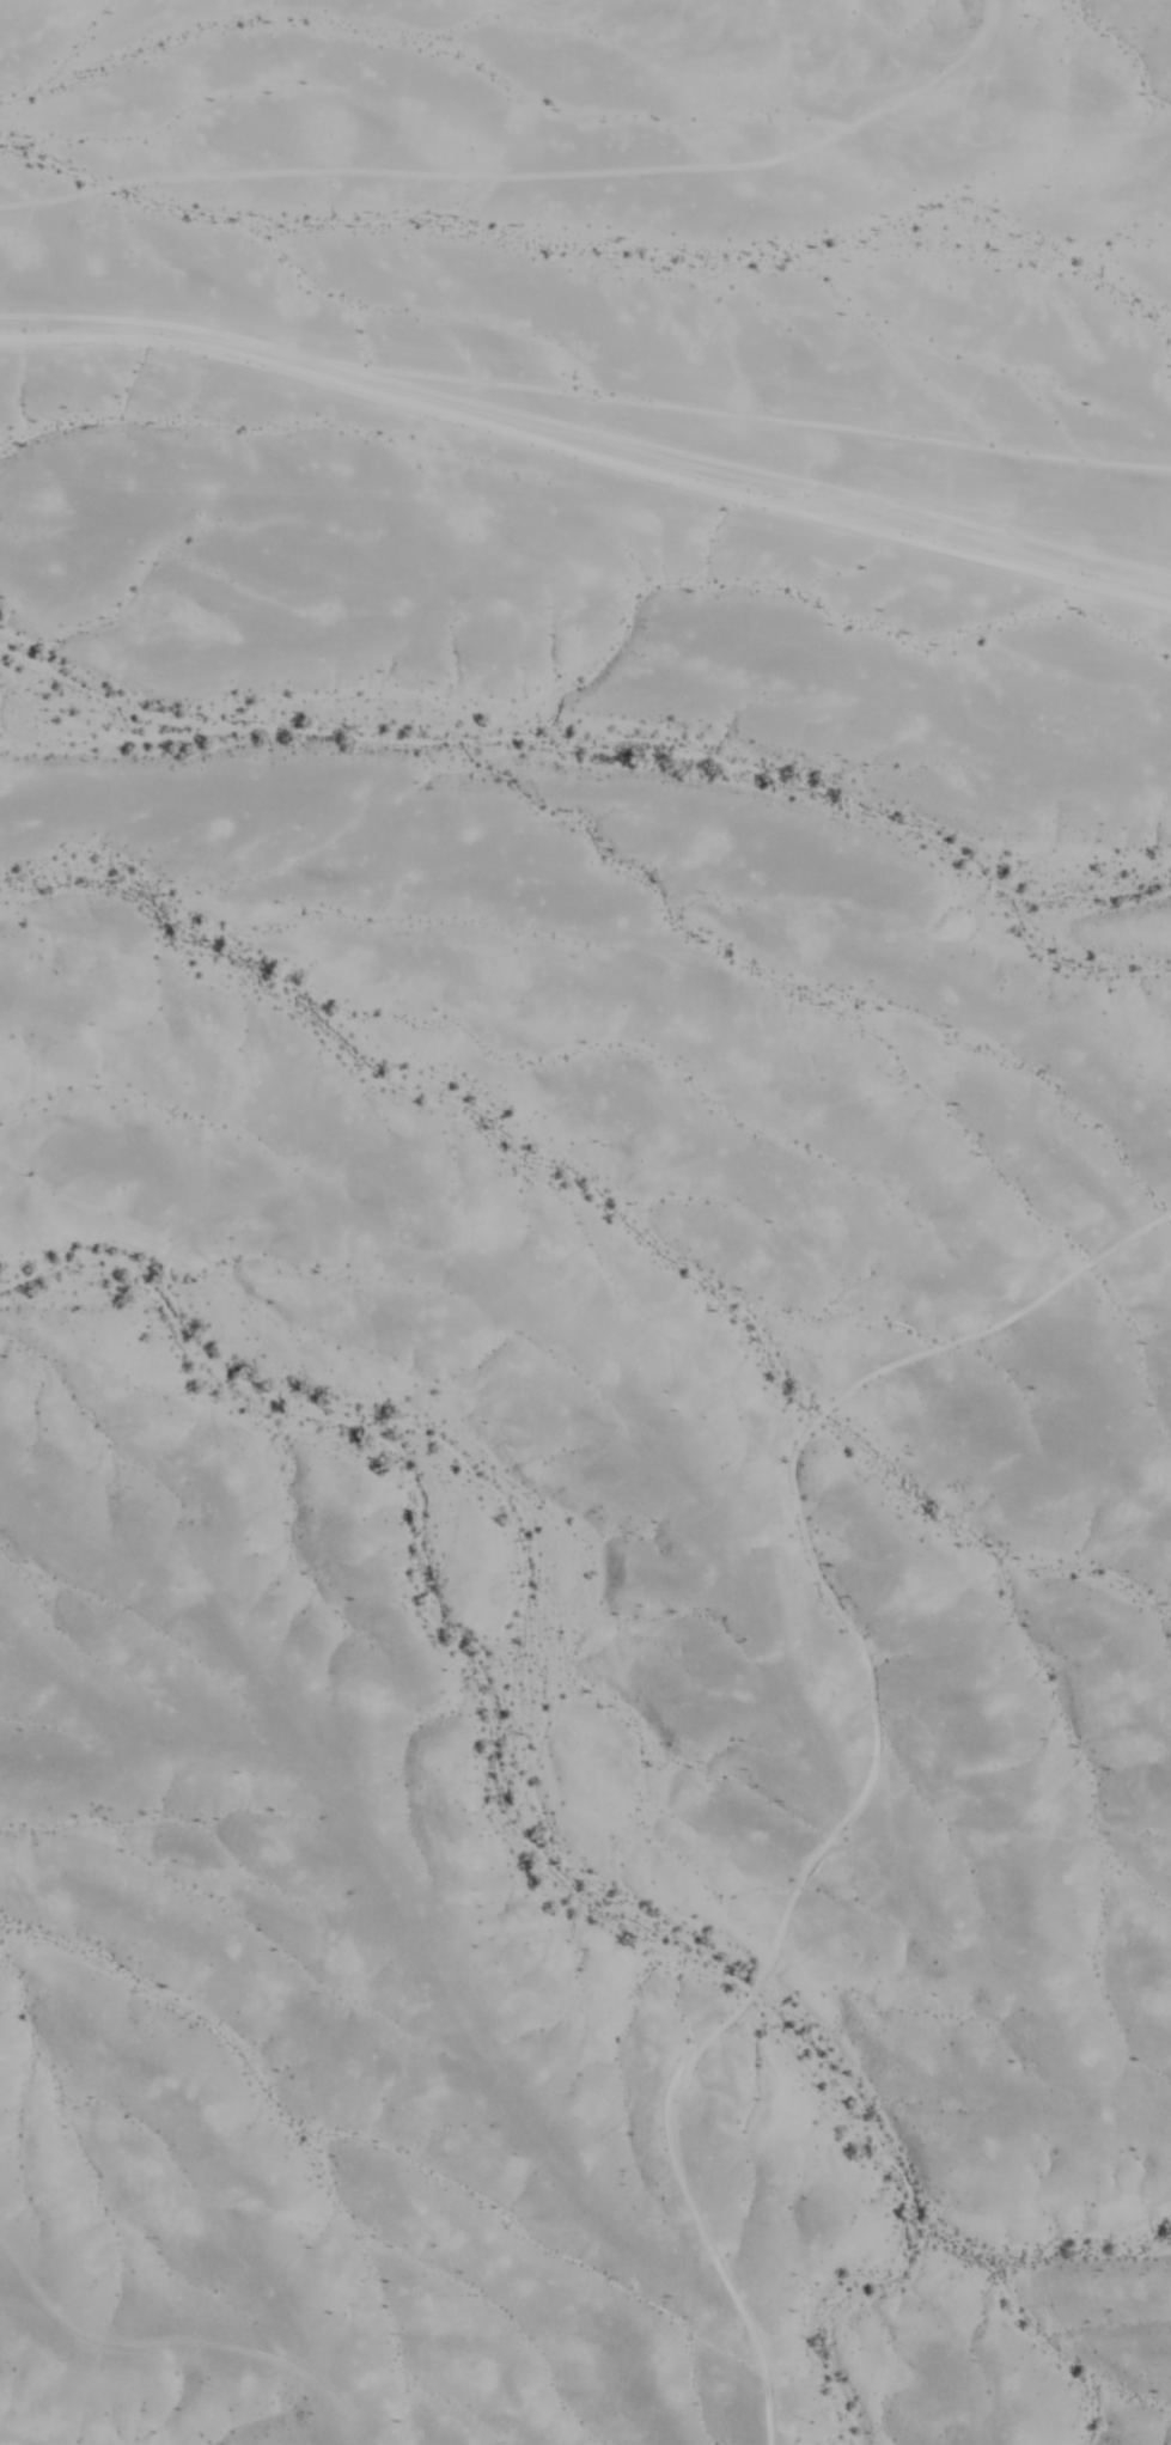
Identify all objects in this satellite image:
road: (586, 462)

